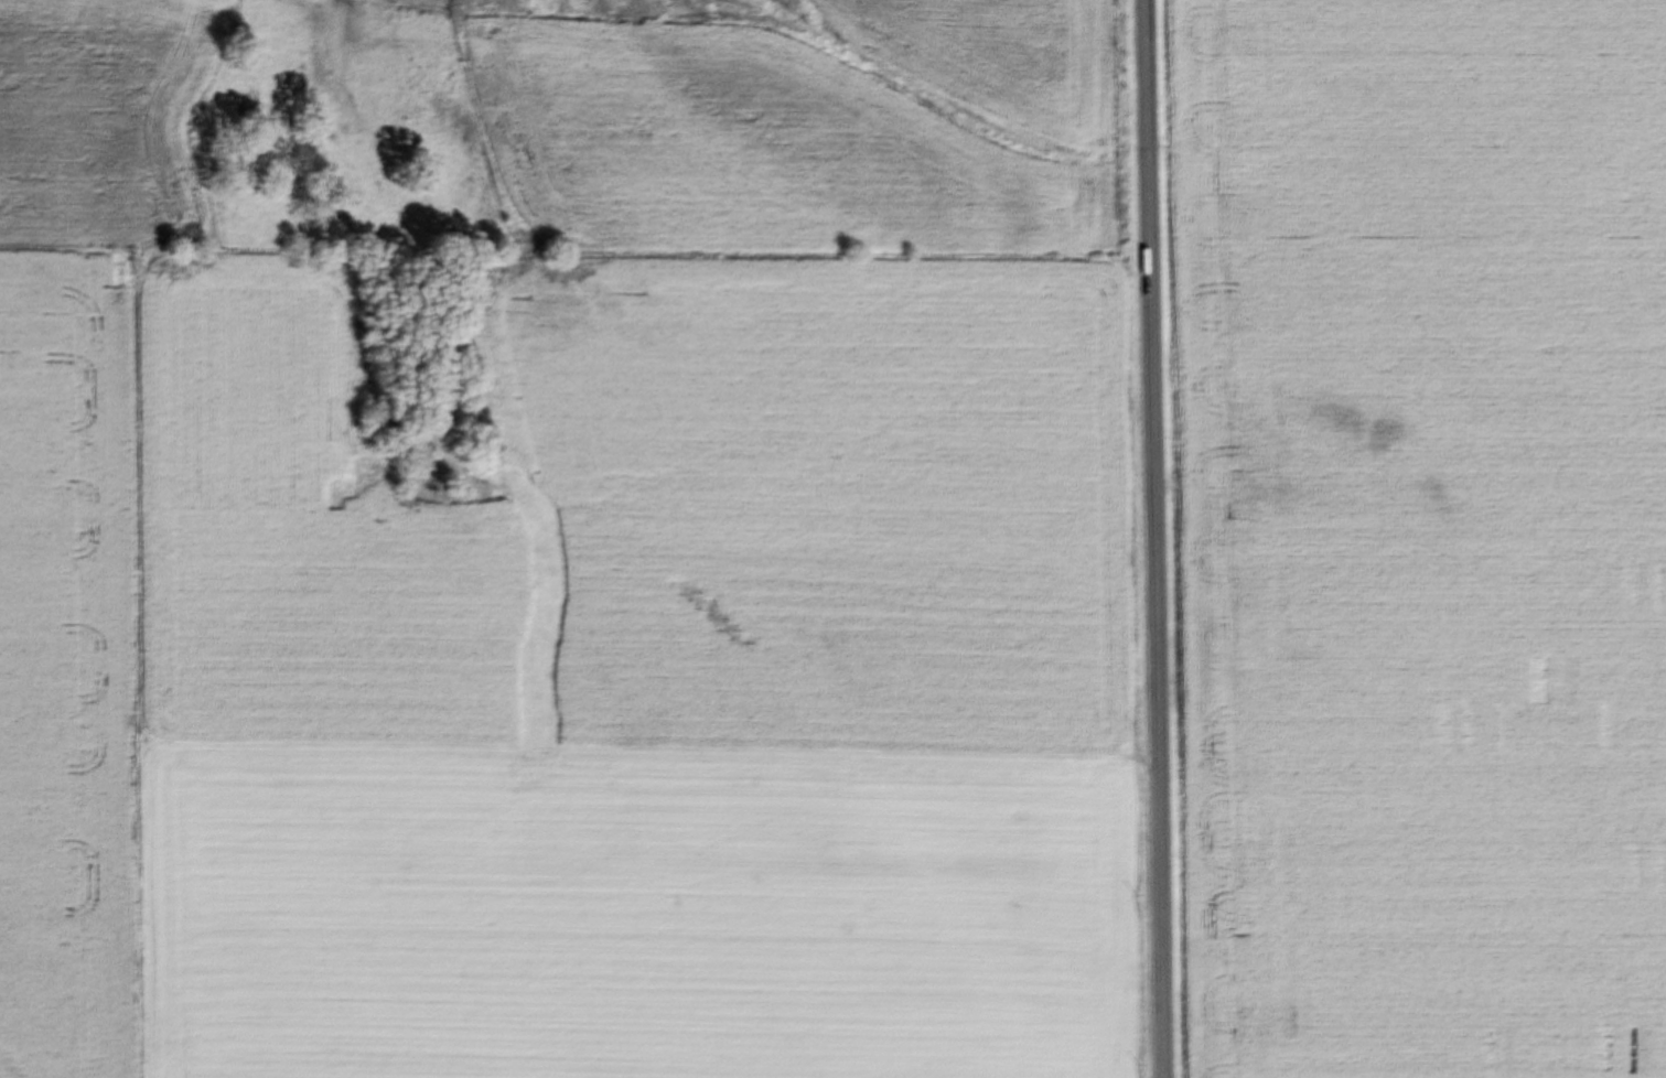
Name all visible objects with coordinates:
road: (1158, 539)

